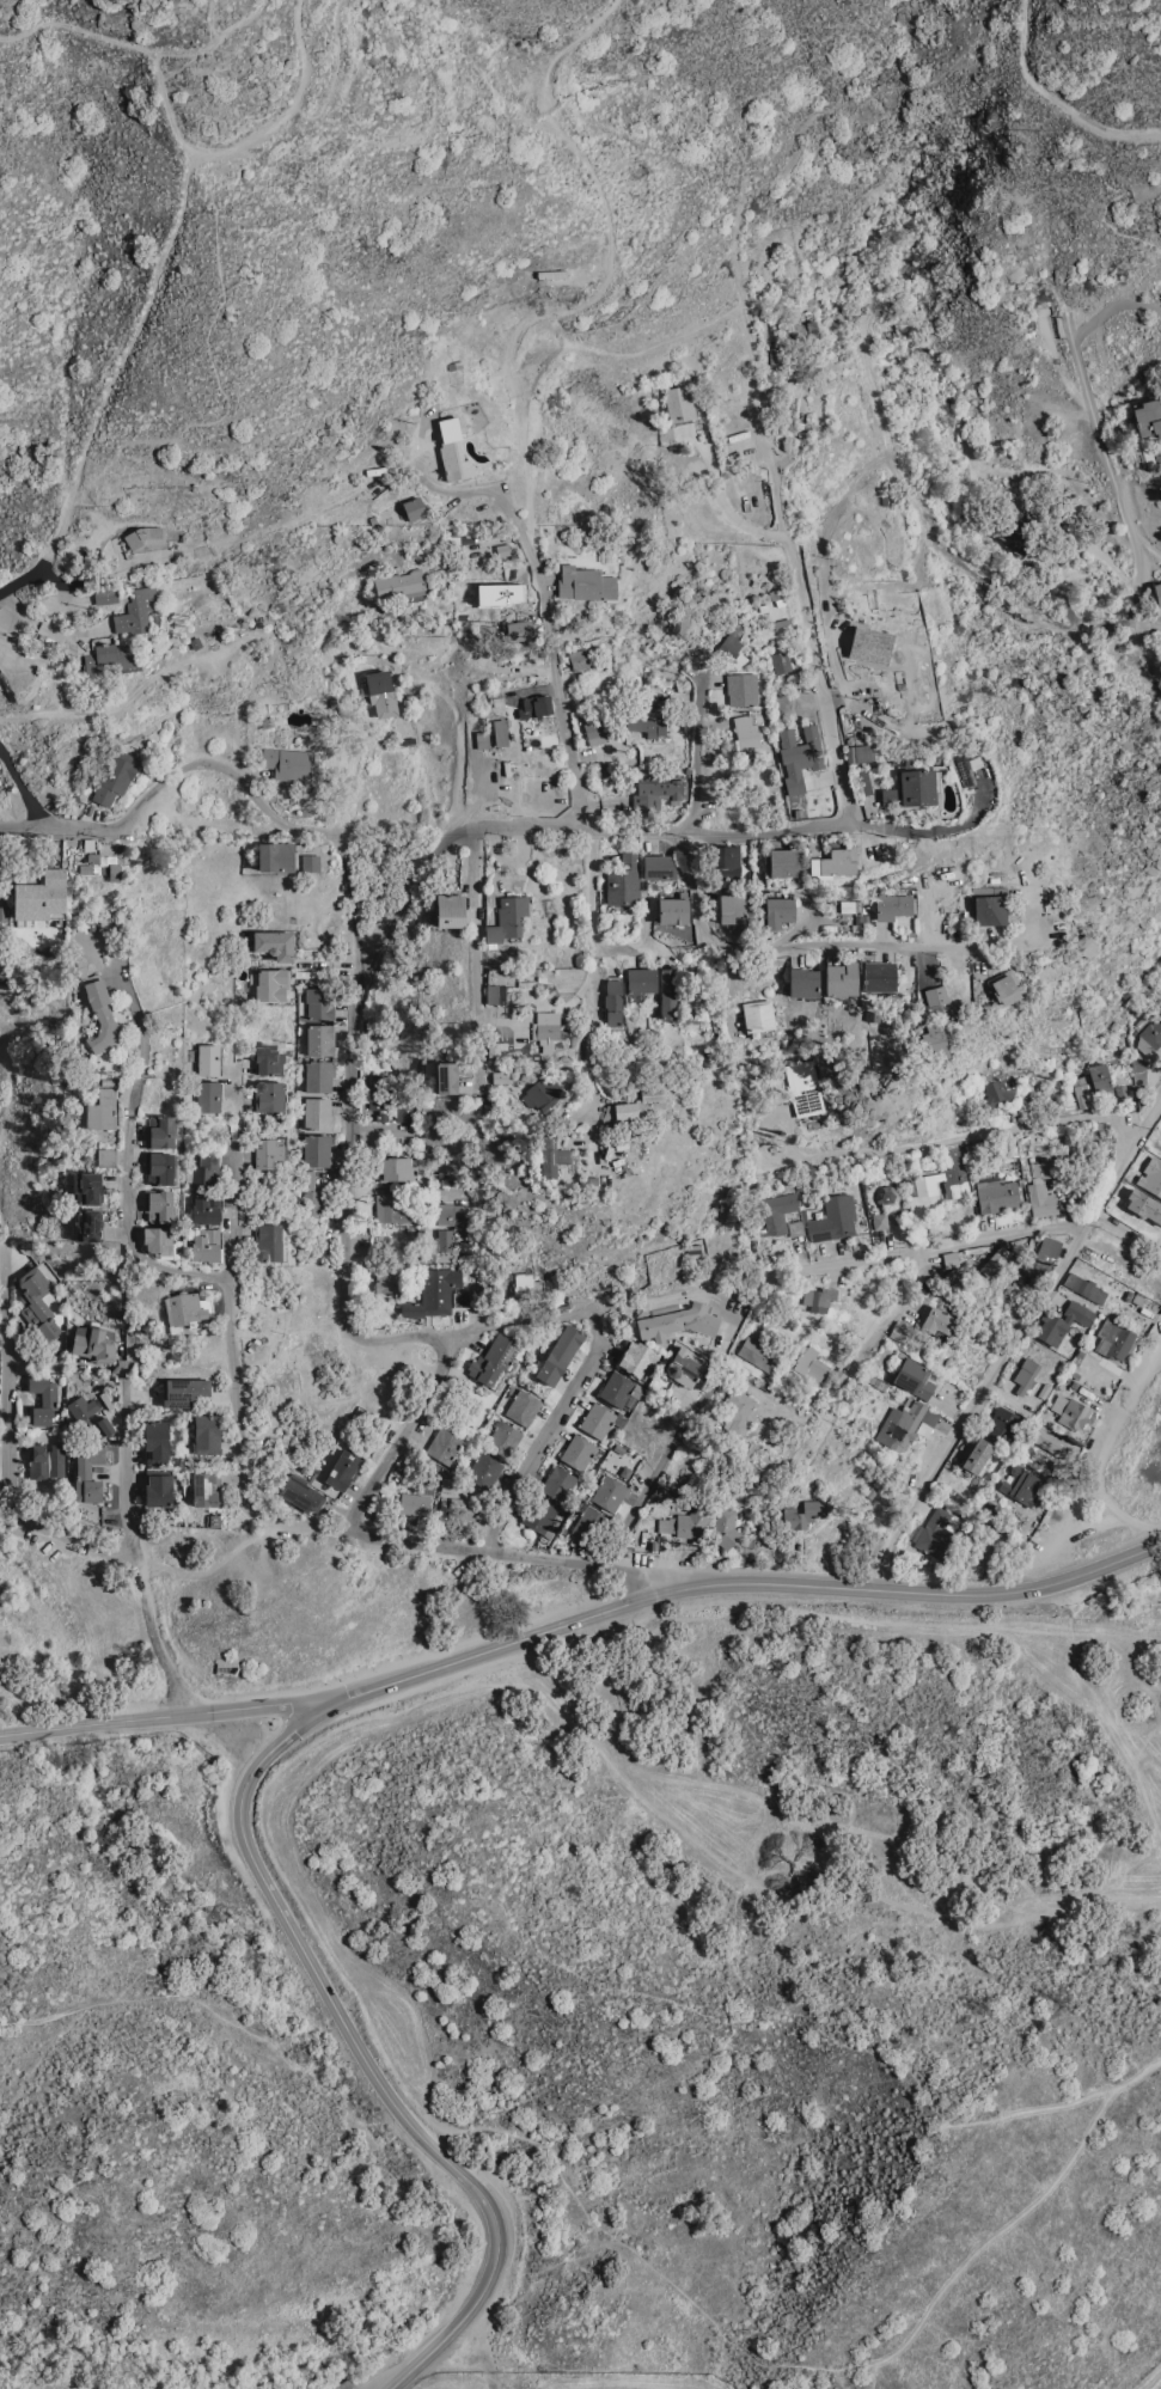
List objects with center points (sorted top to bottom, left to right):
road: (417, 41)
road: (1, 48)
road: (139, 48)
road: (334, 67)
road: (1056, 97)
road: (255, 139)
road: (641, 188)
road: (605, 276)
building: (802, 323)
road: (133, 332)
road: (66, 375)
building: (678, 402)
building: (1147, 417)
road: (1100, 430)
road: (764, 442)
road: (892, 444)
building: (451, 450)
road: (743, 472)
road: (463, 485)
road: (777, 502)
building: (413, 508)
road: (728, 511)
building: (143, 536)
building: (1013, 536)
road: (25, 576)
road: (91, 580)
building: (585, 582)
building: (398, 585)
building: (1156, 593)
building: (135, 610)
road: (1020, 616)
building: (686, 617)
road: (1151, 623)
building: (520, 630)
building: (727, 643)
building: (868, 644)
building: (111, 658)
building: (576, 658)
building: (778, 661)
building: (740, 689)
building: (379, 692)
building: (536, 705)
building: (654, 727)
building: (744, 731)
building: (499, 732)
building: (594, 732)
building: (481, 739)
road: (833, 741)
road: (696, 752)
building: (857, 752)
building: (798, 754)
building: (287, 764)
road: (352, 772)
building: (115, 776)
building: (916, 787)
road: (158, 792)
building: (654, 792)
building: (887, 796)
road: (585, 817)
road: (26, 826)
road: (942, 830)
road: (599, 833)
road: (473, 838)
building: (276, 856)
building: (727, 860)
building: (311, 861)
building: (787, 861)
building: (836, 862)
building: (102, 864)
building: (659, 867)
building: (624, 879)
road: (415, 887)
building: (42, 896)
road: (353, 896)
building: (893, 905)
building: (733, 908)
building: (780, 908)
building: (450, 909)
building: (990, 909)
building: (672, 910)
building: (507, 918)
building: (120, 924)
road: (820, 943)
building: (275, 945)
road: (477, 966)
building: (880, 976)
building: (842, 978)
building: (641, 979)
building: (805, 982)
building: (270, 984)
building: (1003, 986)
road: (729, 988)
building: (668, 991)
building: (495, 994)
building: (936, 994)
building: (612, 1001)
building: (319, 1002)
building: (100, 1013)
building: (759, 1016)
building: (546, 1028)
building: (1150, 1034)
building: (320, 1039)
building: (935, 1040)
building: (494, 1047)
building: (209, 1059)
building: (269, 1059)
building: (319, 1076)
building: (446, 1076)
building: (1100, 1080)
building: (805, 1087)
building: (998, 1090)
building: (1084, 1092)
building: (542, 1093)
building: (269, 1095)
building: (379, 1095)
building: (208, 1096)
building: (647, 1102)
building: (1067, 1107)
building: (102, 1110)
building: (404, 1112)
building: (319, 1113)
building: (160, 1131)
road: (964, 1134)
building: (318, 1149)
building: (267, 1153)
building: (552, 1155)
building: (106, 1157)
road: (128, 1160)
building: (160, 1167)
building: (1041, 1167)
building: (401, 1168)
building: (204, 1169)
building: (954, 1171)
building: (927, 1183)
building: (87, 1187)
building: (311, 1194)
building: (888, 1196)
building: (997, 1196)
building: (1041, 1199)
building: (159, 1205)
building: (206, 1206)
building: (392, 1208)
building: (777, 1211)
building: (450, 1212)
building: (835, 1217)
building: (880, 1221)
building: (793, 1223)
building: (87, 1224)
road: (973, 1238)
building: (268, 1240)
building: (159, 1241)
building: (206, 1242)
building: (441, 1246)
building: (1041, 1257)
building: (994, 1261)
road: (346, 1269)
building: (389, 1278)
building: (526, 1283)
building: (1086, 1287)
road: (230, 1290)
building: (434, 1294)
building: (462, 1297)
building: (818, 1299)
building: (37, 1302)
road: (897, 1302)
building: (184, 1309)
building: (1064, 1320)
building: (679, 1321)
building: (936, 1321)
building: (900, 1330)
building: (1114, 1338)
road: (1016, 1339)
building: (93, 1343)
building: (560, 1352)
building: (759, 1354)
building: (637, 1357)
building: (496, 1360)
building: (812, 1363)
building: (684, 1367)
building: (1026, 1374)
building: (915, 1377)
building: (617, 1387)
building: (182, 1391)
building: (43, 1397)
building: (81, 1406)
building: (523, 1406)
building: (1073, 1411)
building: (737, 1415)
building: (597, 1418)
building: (904, 1422)
building: (1003, 1424)
building: (100, 1425)
road: (551, 1428)
road: (401, 1432)
building: (207, 1434)
building: (502, 1435)
building: (157, 1441)
building: (1053, 1442)
road: (8, 1446)
building: (445, 1446)
building: (579, 1450)
road: (1106, 1453)
building: (977, 1455)
building: (45, 1460)
building: (343, 1468)
building: (484, 1470)
building: (88, 1474)
building: (1021, 1481)
building: (452, 1483)
building: (558, 1483)
road: (649, 1483)
building: (207, 1486)
building: (159, 1487)
building: (301, 1492)
building: (609, 1492)
building: (416, 1497)
building: (464, 1508)
building: (986, 1510)
building: (802, 1514)
building: (540, 1515)
building: (688, 1520)
building: (589, 1523)
building: (725, 1527)
road: (129, 1529)
building: (936, 1530)
building: (985, 1546)
road: (485, 1548)
road: (741, 1578)
road: (165, 1716)
road: (268, 1844)
road: (191, 1996)
road: (359, 2049)
road: (1155, 2383)
road: (385, 2384)
road: (391, 2384)

